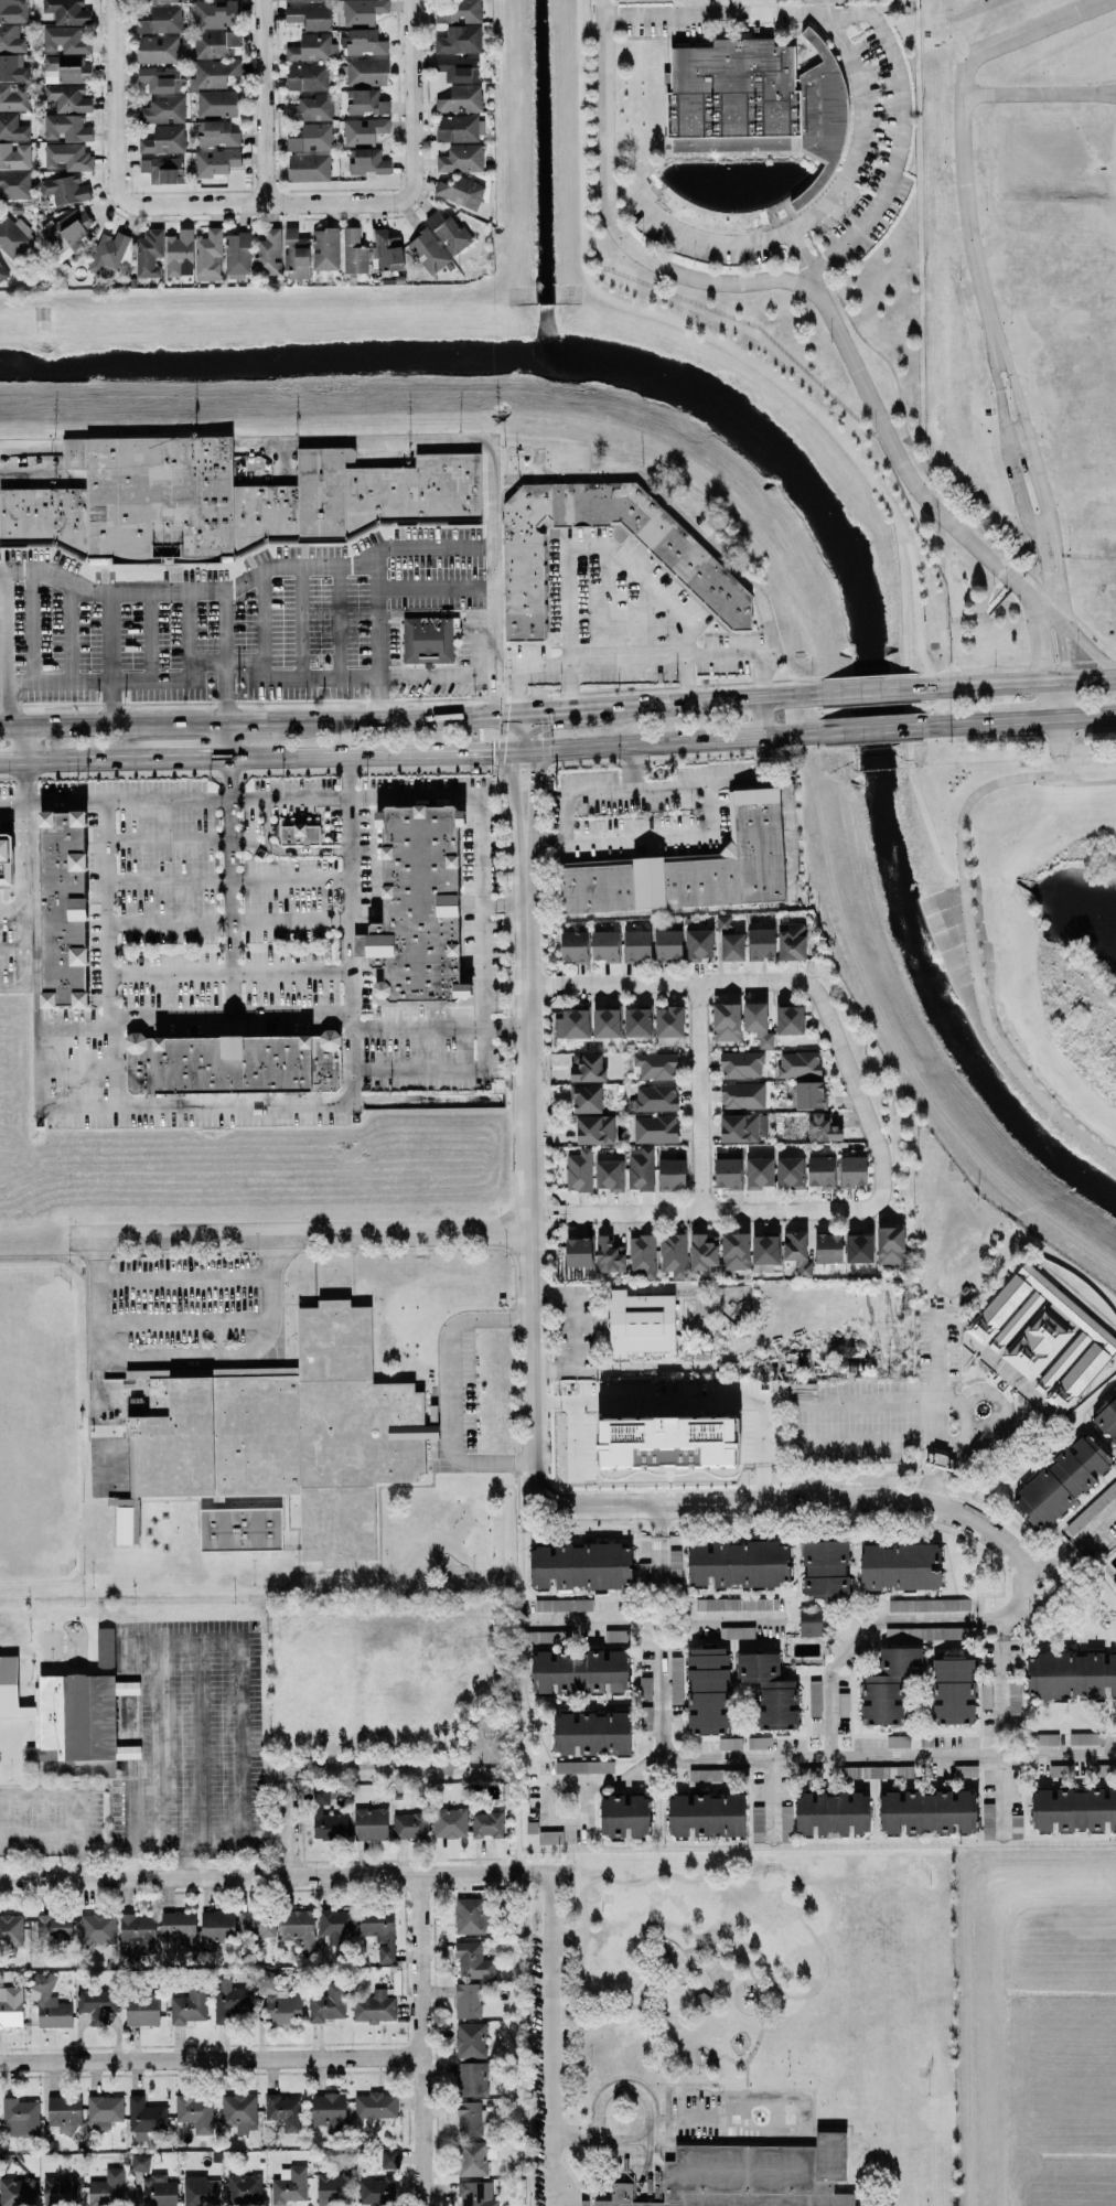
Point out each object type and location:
building: (302, 0)
building: (154, 1)
building: (819, 1)
building: (13, 11)
building: (66, 11)
building: (362, 11)
building: (455, 11)
building: (214, 13)
building: (309, 17)
building: (160, 20)
road: (878, 26)
building: (12, 38)
building: (64, 40)
building: (458, 40)
building: (364, 42)
building: (214, 43)
building: (312, 47)
building: (157, 50)
building: (12, 68)
building: (457, 68)
building: (64, 71)
building: (365, 72)
building: (305, 77)
building: (160, 79)
building: (214, 87)
road: (1038, 94)
building: (13, 97)
building: (67, 97)
road: (411, 97)
building: (460, 99)
road: (115, 101)
road: (262, 101)
building: (364, 101)
building: (756, 103)
building: (310, 108)
building: (162, 110)
building: (12, 128)
building: (65, 128)
building: (457, 128)
building: (363, 130)
building: (217, 135)
building: (311, 138)
building: (163, 140)
building: (14, 156)
building: (66, 157)
building: (460, 158)
building: (366, 161)
building: (214, 162)
building: (308, 168)
building: (161, 170)
wastewater plant: (769, 178)
building: (14, 184)
building: (64, 189)
building: (460, 192)
road: (266, 203)
road: (811, 217)
building: (67, 232)
building: (448, 232)
building: (13, 238)
building: (324, 249)
building: (108, 250)
building: (387, 250)
building: (428, 250)
building: (353, 251)
building: (148, 253)
building: (179, 253)
building: (237, 254)
building: (268, 254)
building: (207, 255)
building: (296, 255)
road: (804, 259)
road: (975, 269)
building: (1, 272)
wastewater plant: (1021, 274)
road: (769, 279)
road: (721, 342)
river: (271, 358)
road: (374, 441)
road: (24, 456)
building: (229, 501)
road: (601, 544)
building: (678, 553)
road: (496, 576)
road: (246, 586)
road: (436, 588)
road: (1023, 596)
road: (1, 607)
road: (1035, 613)
road: (376, 621)
road: (4, 635)
building: (427, 640)
road: (620, 662)
road: (1060, 667)
road: (765, 675)
road: (1016, 677)
road: (253, 687)
road: (867, 689)
road: (707, 698)
road: (379, 700)
road: (225, 706)
road: (916, 706)
road: (557, 708)
traffic signals: (518, 711)
road: (1090, 714)
road: (409, 716)
road: (764, 716)
road: (1035, 718)
road: (262, 722)
road: (963, 724)
road: (111, 725)
road: (526, 730)
road: (868, 730)
road: (513, 731)
road: (225, 739)
road: (675, 740)
river: (870, 741)
road: (19, 742)
traffic signals: (534, 749)
road: (521, 750)
traffic signals: (508, 751)
road: (366, 754)
road: (196, 756)
road: (84, 758)
road: (760, 780)
road: (1073, 783)
road: (579, 792)
road: (532, 794)
road: (509, 795)
road: (325, 801)
road: (12, 805)
road: (701, 833)
building: (299, 835)
road: (165, 838)
building: (6, 858)
building: (689, 868)
road: (289, 876)
road: (168, 878)
road: (21, 882)
building: (418, 907)
building: (63, 908)
road: (11, 910)
road: (108, 912)
road: (229, 920)
park: (1016, 938)
building: (728, 941)
building: (792, 941)
building: (761, 943)
building: (698, 944)
building: (604, 945)
building: (636, 945)
building: (667, 945)
building: (573, 946)
road: (11, 952)
road: (969, 964)
road: (290, 972)
road: (170, 973)
road: (230, 988)
road: (35, 990)
road: (290, 1019)
building: (790, 1020)
building: (605, 1021)
building: (668, 1021)
building: (726, 1021)
building: (571, 1022)
building: (636, 1022)
building: (756, 1024)
road: (437, 1025)
road: (350, 1045)
road: (485, 1053)
building: (232, 1063)
building: (741, 1064)
building: (798, 1064)
building: (655, 1065)
road: (865, 1067)
building: (587, 1068)
building: (809, 1094)
road: (698, 1095)
building: (742, 1095)
building: (655, 1097)
building: (586, 1099)
road: (868, 1118)
building: (741, 1127)
building: (822, 1127)
building: (654, 1128)
building: (594, 1129)
road: (527, 1149)
building: (728, 1169)
building: (578, 1170)
building: (642, 1170)
building: (790, 1171)
building: (820, 1171)
building: (852, 1171)
building: (758, 1172)
building: (672, 1174)
building: (609, 1175)
road: (298, 1233)
road: (518, 1242)
building: (890, 1245)
building: (828, 1247)
building: (859, 1247)
building: (766, 1249)
road: (398, 1250)
building: (578, 1252)
building: (704, 1252)
building: (734, 1252)
building: (797, 1253)
building: (672, 1254)
building: (609, 1255)
building: (643, 1255)
road: (184, 1279)
road: (86, 1305)
building: (1019, 1317)
road: (184, 1320)
building: (640, 1322)
road: (98, 1326)
road: (573, 1329)
building: (981, 1332)
building: (1037, 1342)
road: (236, 1354)
building: (1065, 1358)
road: (86, 1368)
building: (763, 1371)
road: (935, 1385)
road: (449, 1390)
road: (698, 1392)
road: (879, 1400)
building: (1107, 1418)
road: (981, 1424)
road: (75, 1427)
building: (289, 1439)
road: (865, 1441)
building: (669, 1442)
park: (110, 1465)
road: (83, 1468)
building: (1061, 1481)
road: (786, 1502)
building: (1092, 1508)
building: (738, 1563)
building: (581, 1566)
building: (900, 1566)
building: (825, 1568)
building: (642, 1573)
building: (674, 1581)
building: (732, 1604)
building: (562, 1605)
building: (929, 1605)
road: (653, 1617)
building: (809, 1621)
road: (872, 1624)
road: (659, 1631)
road: (185, 1639)
building: (105, 1647)
road: (1009, 1647)
building: (579, 1671)
building: (1071, 1674)
building: (888, 1684)
building: (644, 1688)
building: (707, 1690)
building: (953, 1690)
building: (769, 1691)
building: (814, 1696)
building: (1013, 1699)
building: (644, 1717)
building: (68, 1718)
building: (591, 1733)
building: (1040, 1738)
building: (1086, 1738)
building: (897, 1742)
building: (729, 1743)
building: (759, 1743)
building: (127, 1752)
road: (848, 1754)
road: (185, 1757)
building: (583, 1767)
building: (868, 1773)
building: (720, 1775)
road: (773, 1792)
road: (78, 1799)
building: (1073, 1810)
building: (927, 1811)
building: (831, 1813)
building: (706, 1814)
building: (624, 1816)
building: (324, 1817)
building: (449, 1822)
building: (756, 1822)
building: (369, 1823)
road: (584, 1823)
building: (409, 1824)
building: (486, 1824)
road: (287, 1831)
road: (40, 1836)
building: (549, 1838)
road: (285, 1875)
road: (803, 1910)
building: (469, 1916)
building: (256, 1924)
building: (334, 1926)
building: (53, 1927)
building: (97, 1928)
building: (179, 1928)
building: (215, 1928)
building: (298, 1928)
building: (138, 1934)
building: (379, 1934)
building: (10, 1935)
road: (658, 1938)
road: (725, 1955)
building: (472, 1961)
road: (691, 1988)
road: (768, 1989)
road: (761, 1993)
building: (276, 1999)
building: (466, 2000)
building: (230, 2001)
building: (49, 2003)
building: (328, 2003)
building: (96, 2004)
building: (189, 2004)
building: (10, 2006)
building: (374, 2007)
building: (141, 2010)
road: (550, 2037)
road: (419, 2039)
building: (470, 2039)
road: (748, 2052)
road: (728, 2057)
road: (210, 2059)
building: (471, 2078)
road: (646, 2100)
building: (374, 2105)
building: (282, 2109)
building: (328, 2109)
building: (104, 2110)
building: (64, 2111)
building: (238, 2111)
building: (194, 2112)
road: (813, 2116)
building: (20, 2117)
building: (144, 2118)
building: (470, 2119)
road: (641, 2139)
building: (473, 2157)
building: (388, 2159)
building: (139, 2163)
building: (750, 2176)
building: (289, 2186)
building: (334, 2186)
building: (106, 2188)
building: (58, 2189)
building: (243, 2189)
building: (159, 2191)
building: (376, 2191)
building: (17, 2192)
building: (201, 2193)
building: (477, 2193)
building: (584, 2202)

